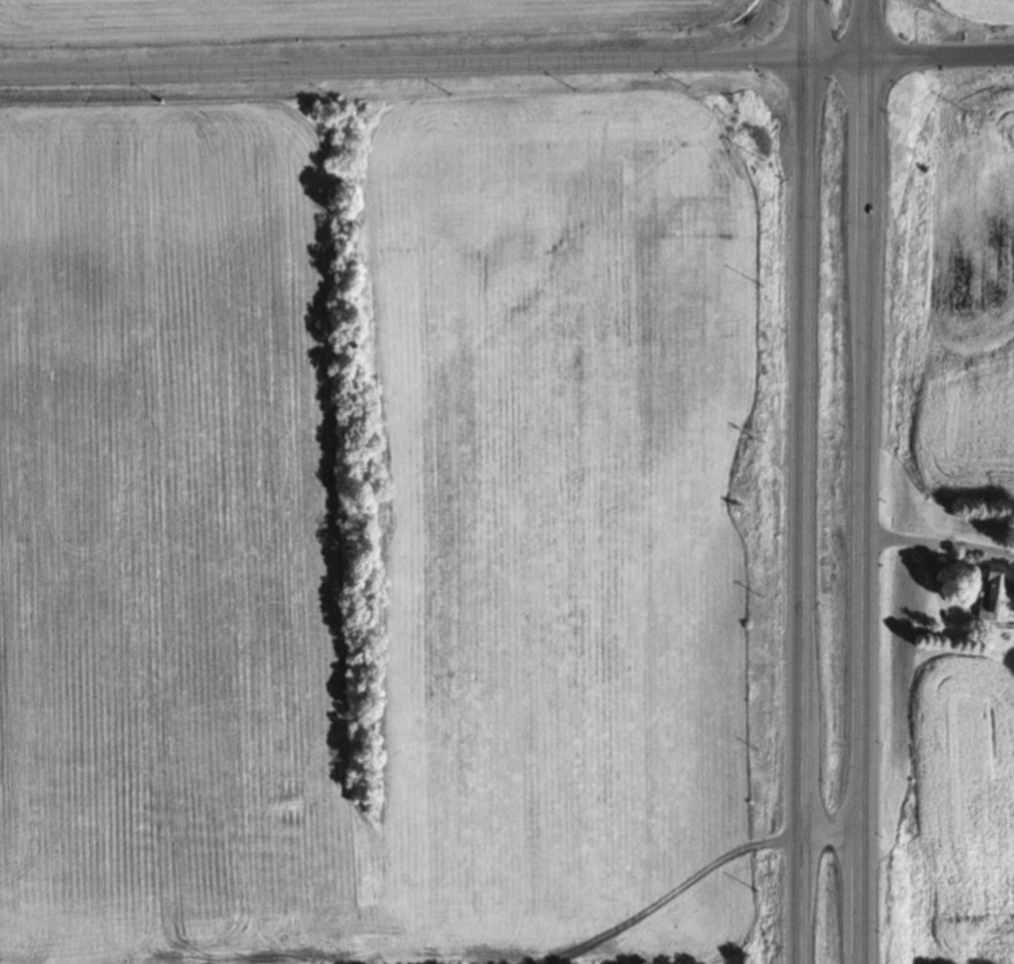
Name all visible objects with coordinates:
road: (939, 55)
road: (433, 67)
road: (803, 481)
road: (862, 482)
road: (939, 542)
building: (991, 588)
road: (831, 827)

